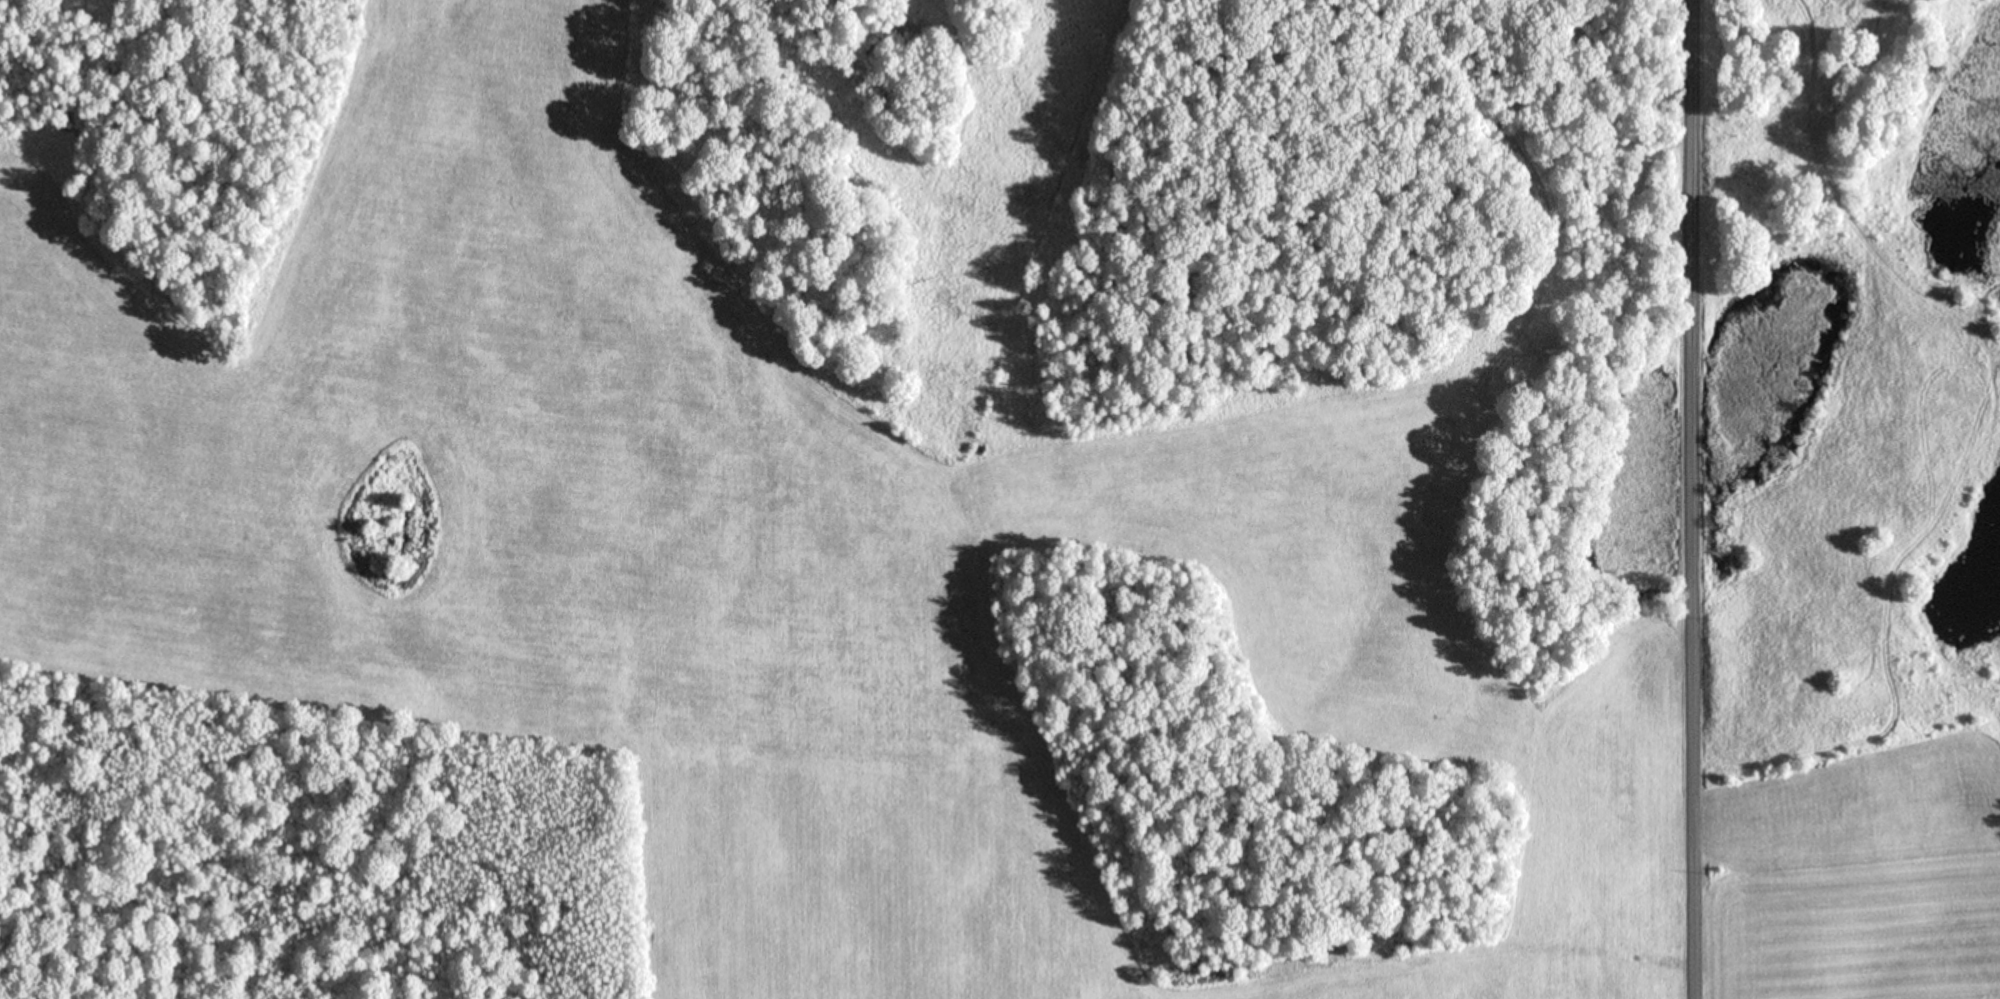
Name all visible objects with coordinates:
road: (1690, 499)

